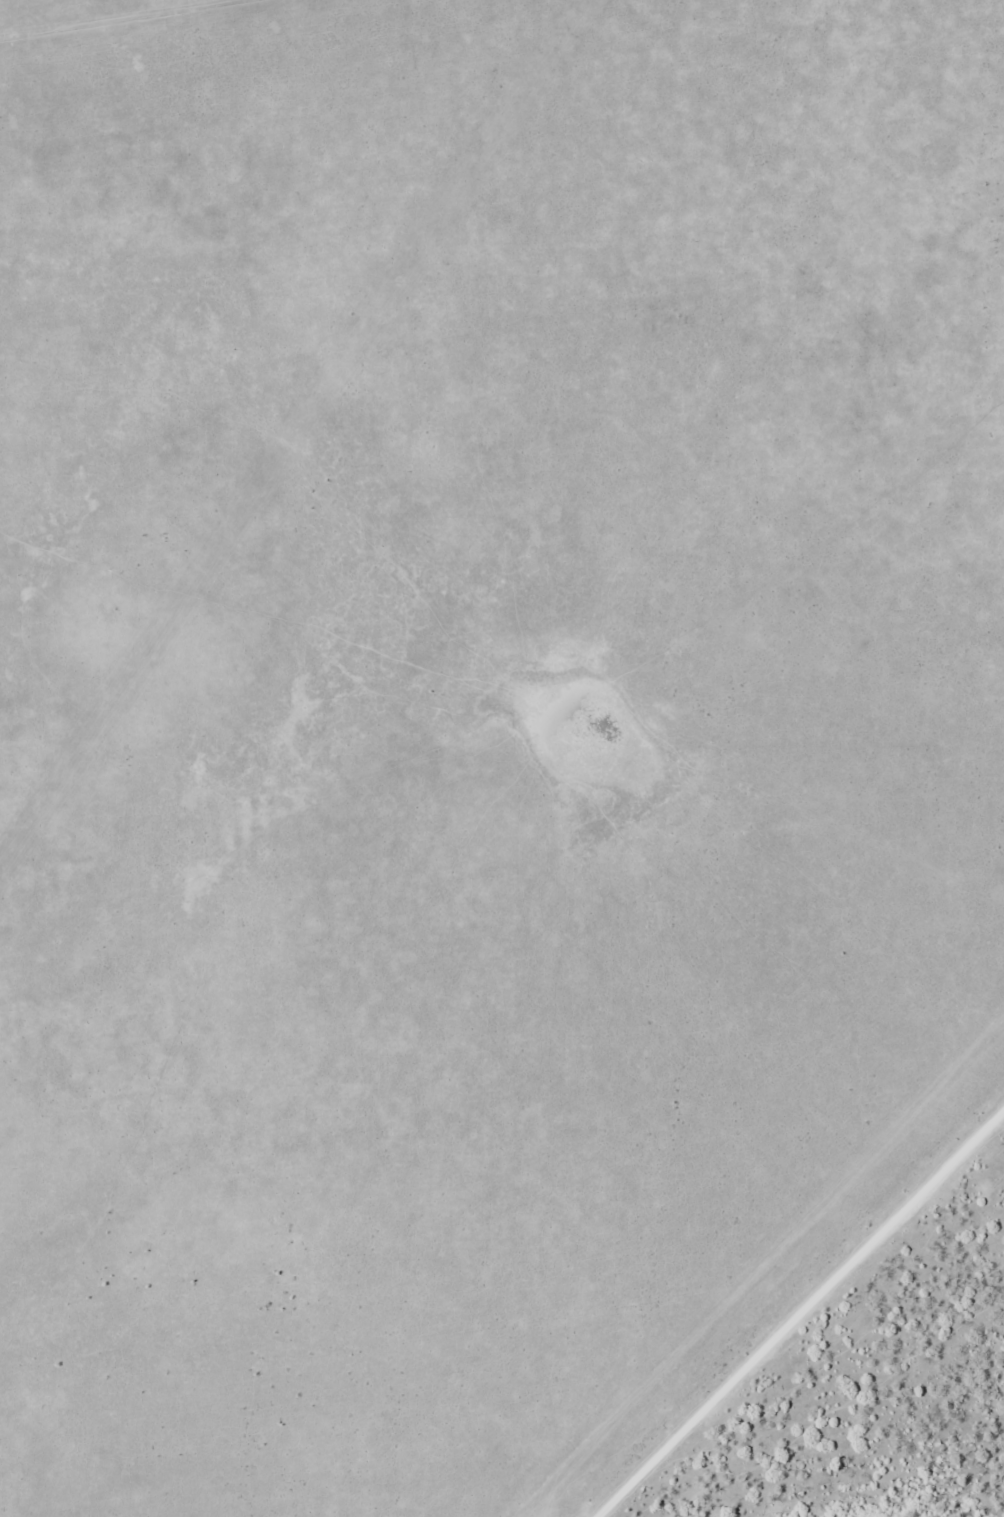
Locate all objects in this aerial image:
road: (803, 1310)

